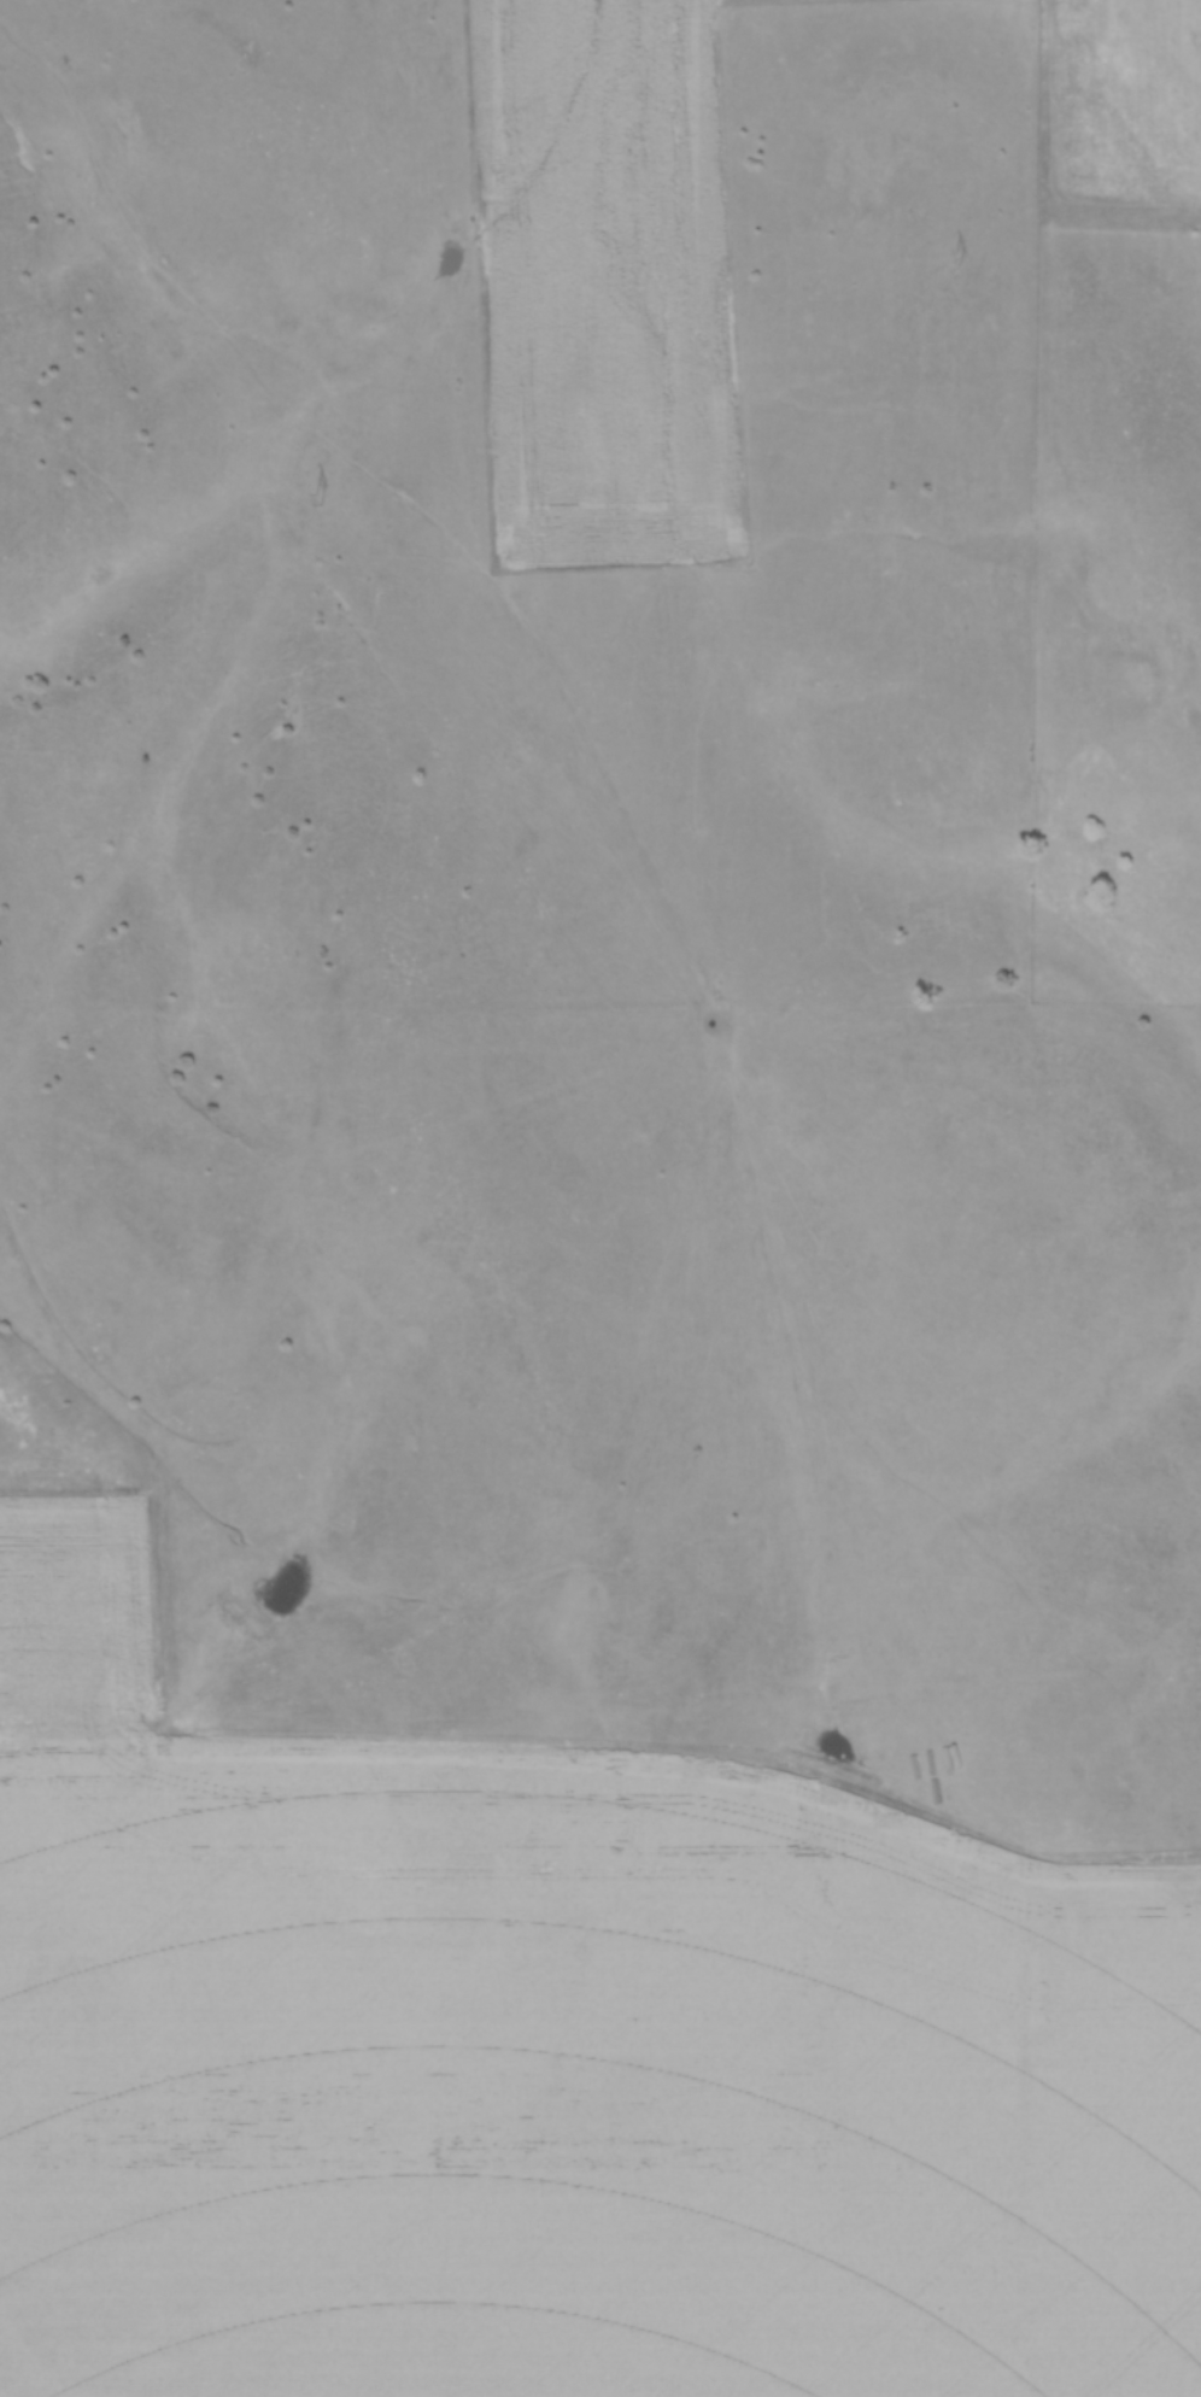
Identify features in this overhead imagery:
power tower: (961, 257)
power tower: (321, 498)

